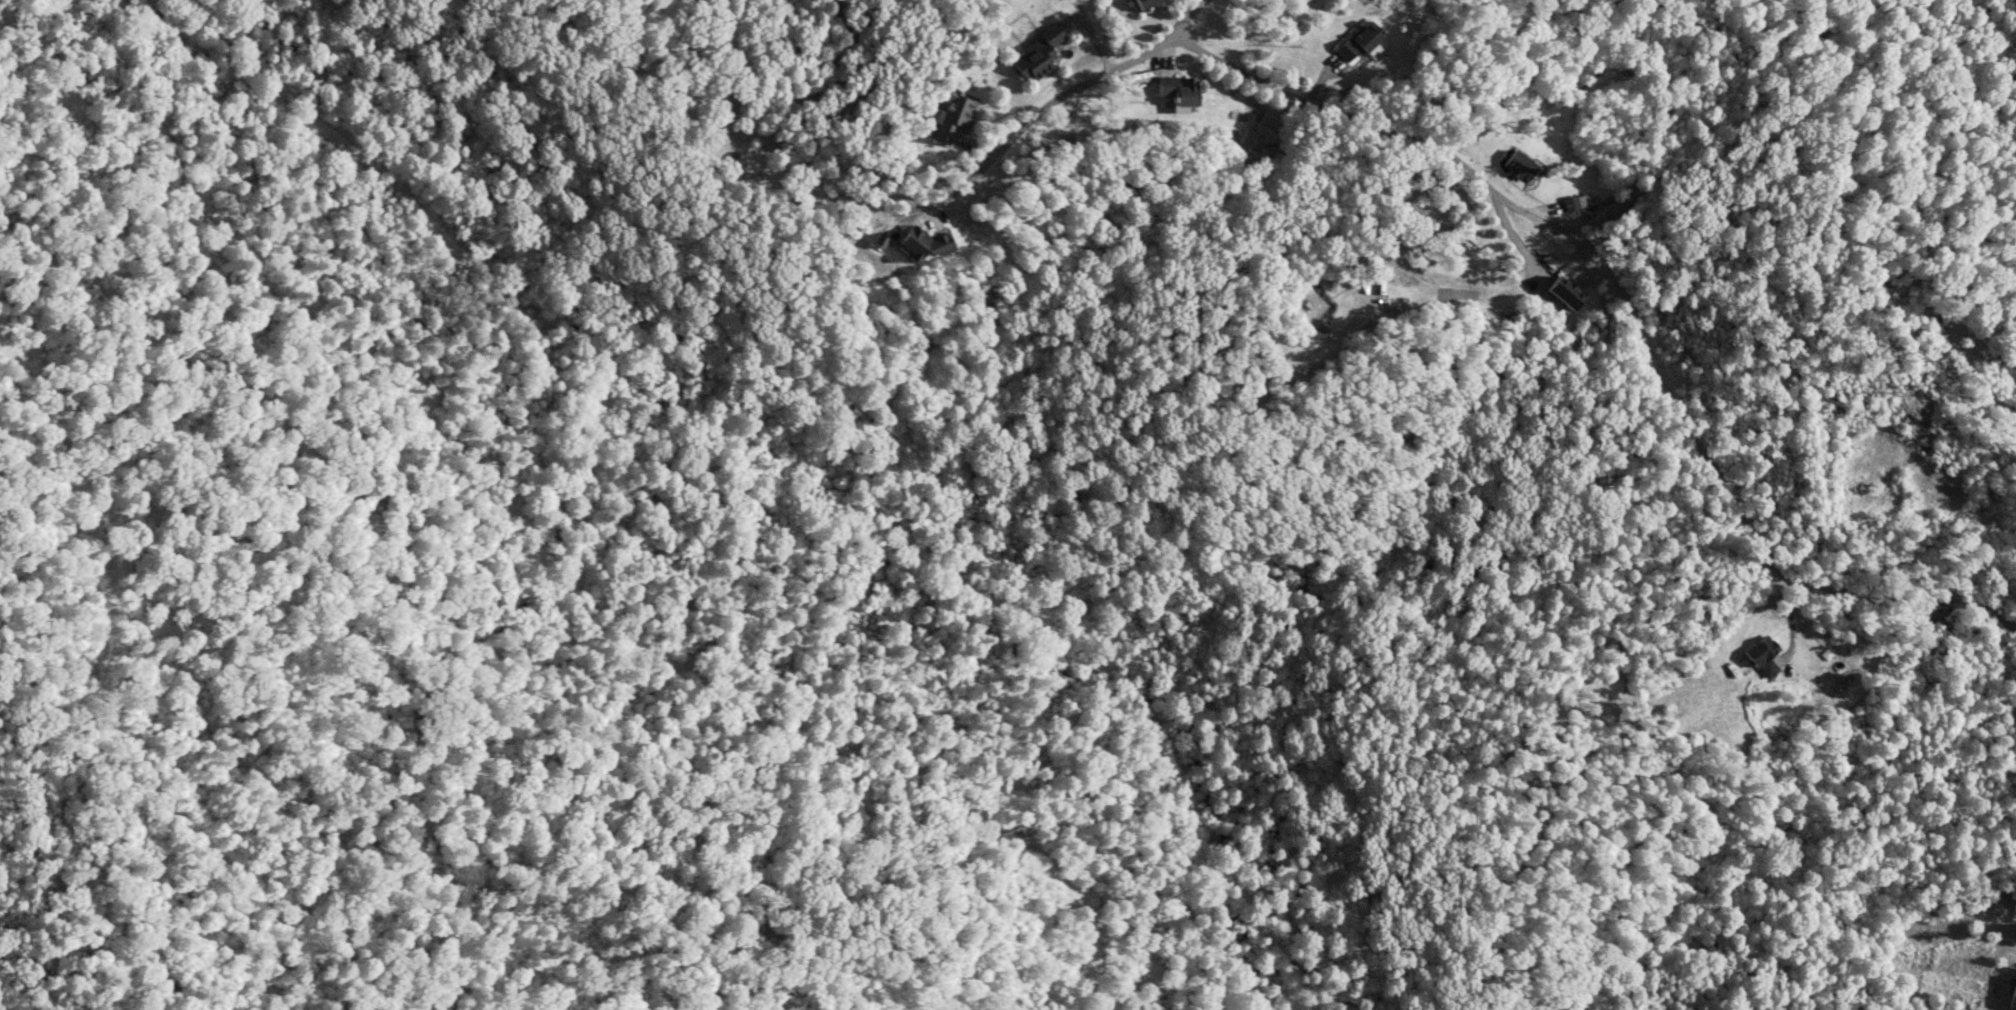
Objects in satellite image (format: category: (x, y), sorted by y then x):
building: (1144, 3)
road: (1182, 13)
building: (1358, 41)
building: (1038, 52)
building: (1178, 91)
road: (1049, 105)
building: (953, 114)
building: (1519, 166)
building: (923, 244)
building: (1563, 292)
road: (1628, 311)
building: (1761, 655)
building: (2012, 994)

